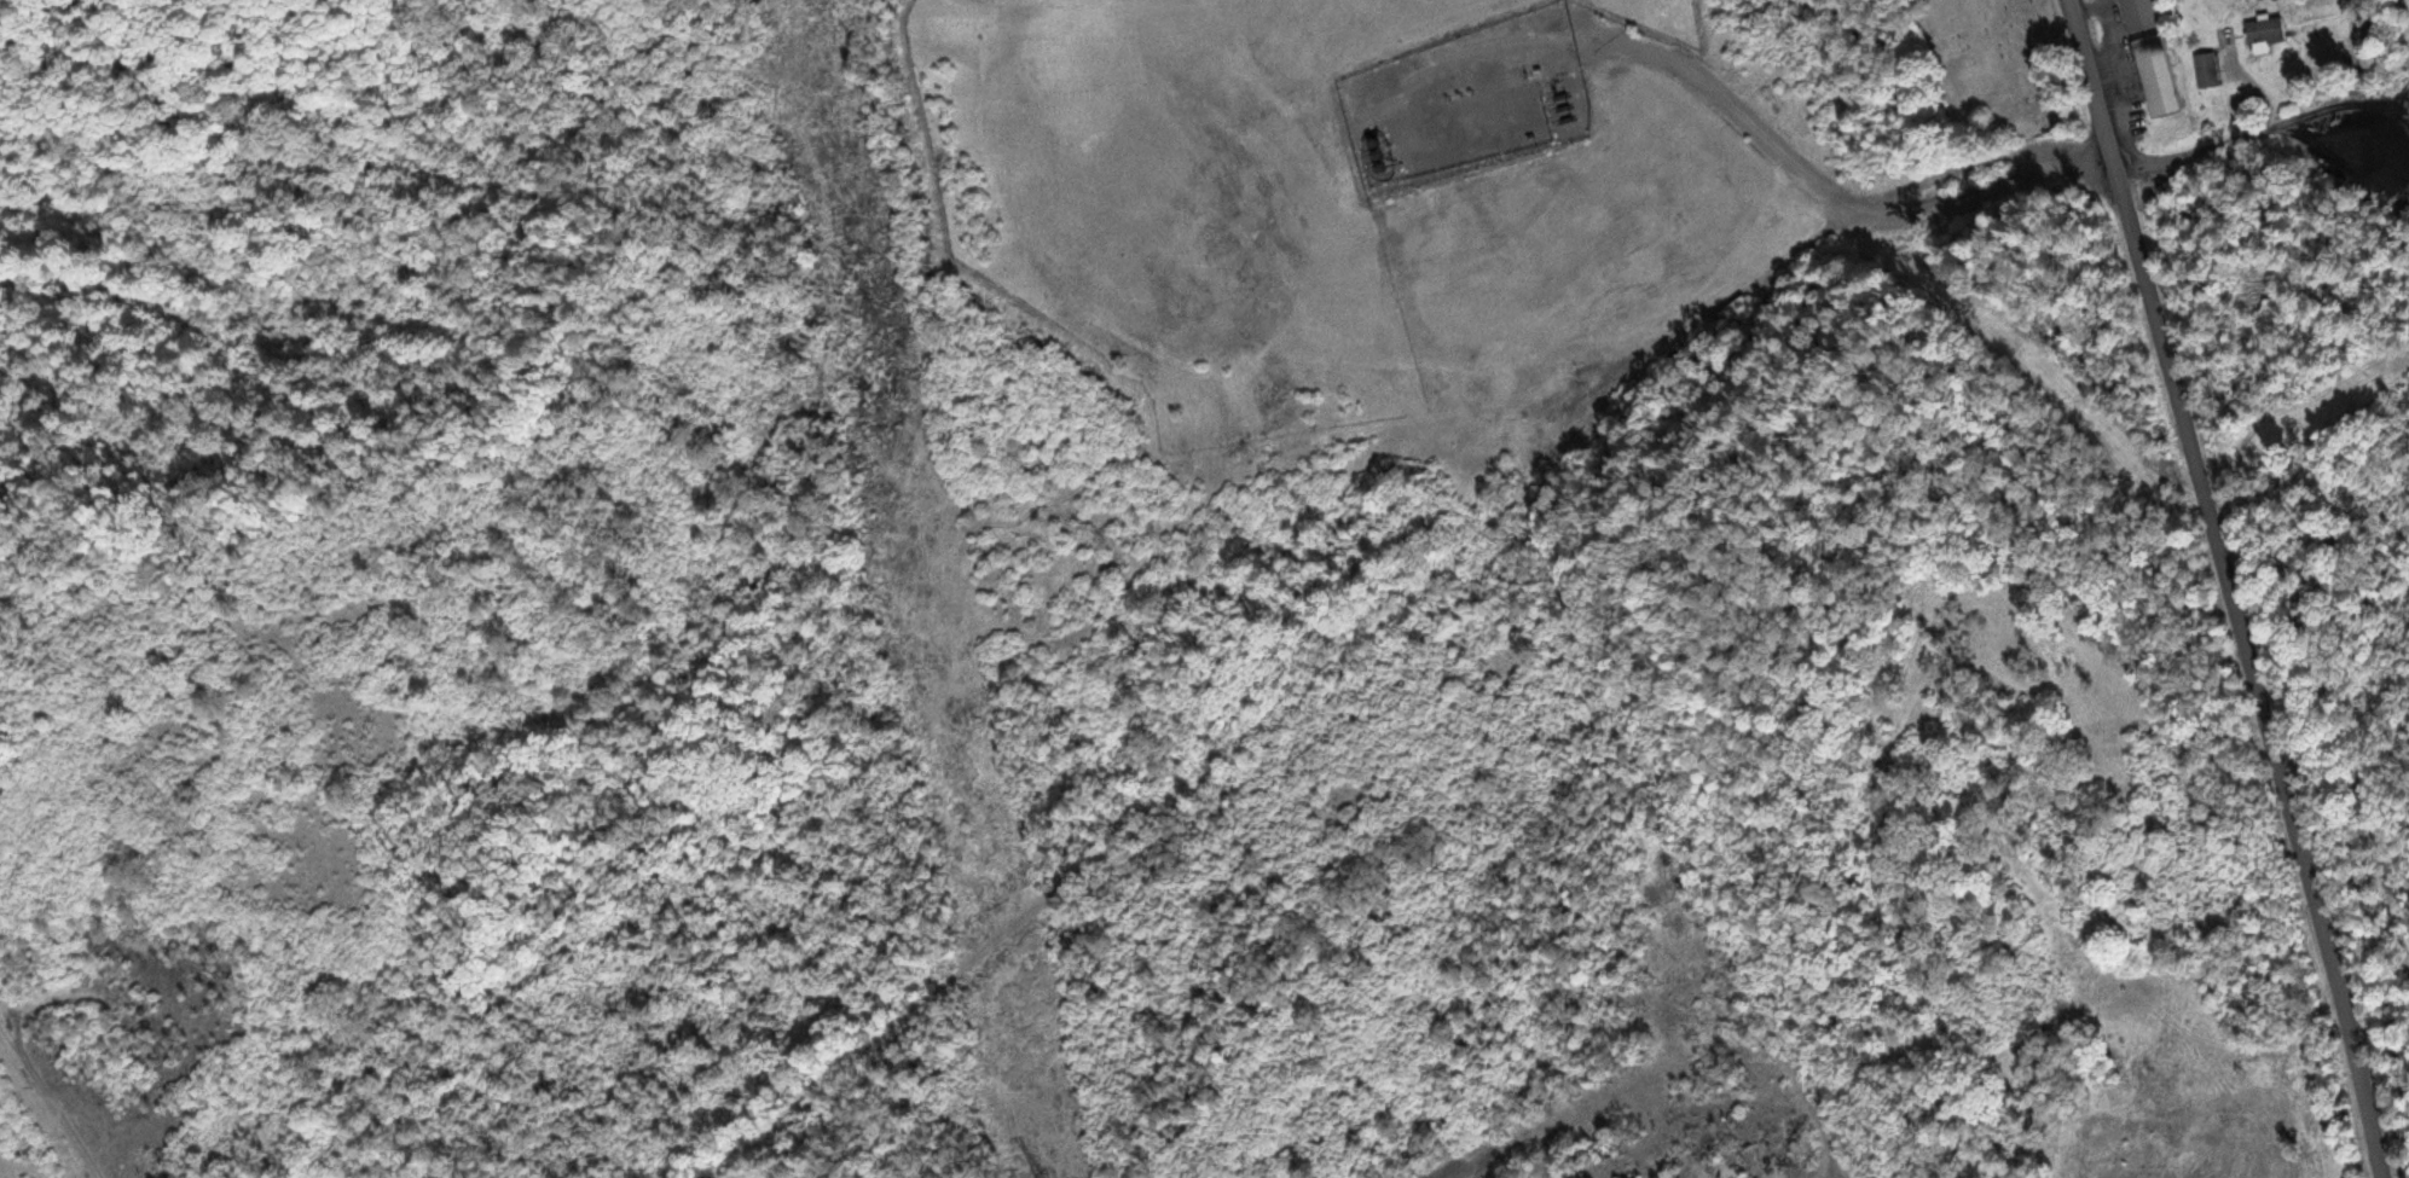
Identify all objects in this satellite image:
building: (2138, 14)
building: (2264, 29)
building: (2205, 69)
building: (2155, 75)
road: (2257, 116)
power tower: (886, 431)
road: (2226, 587)
road: (1382, 621)
power tower: (933, 658)

